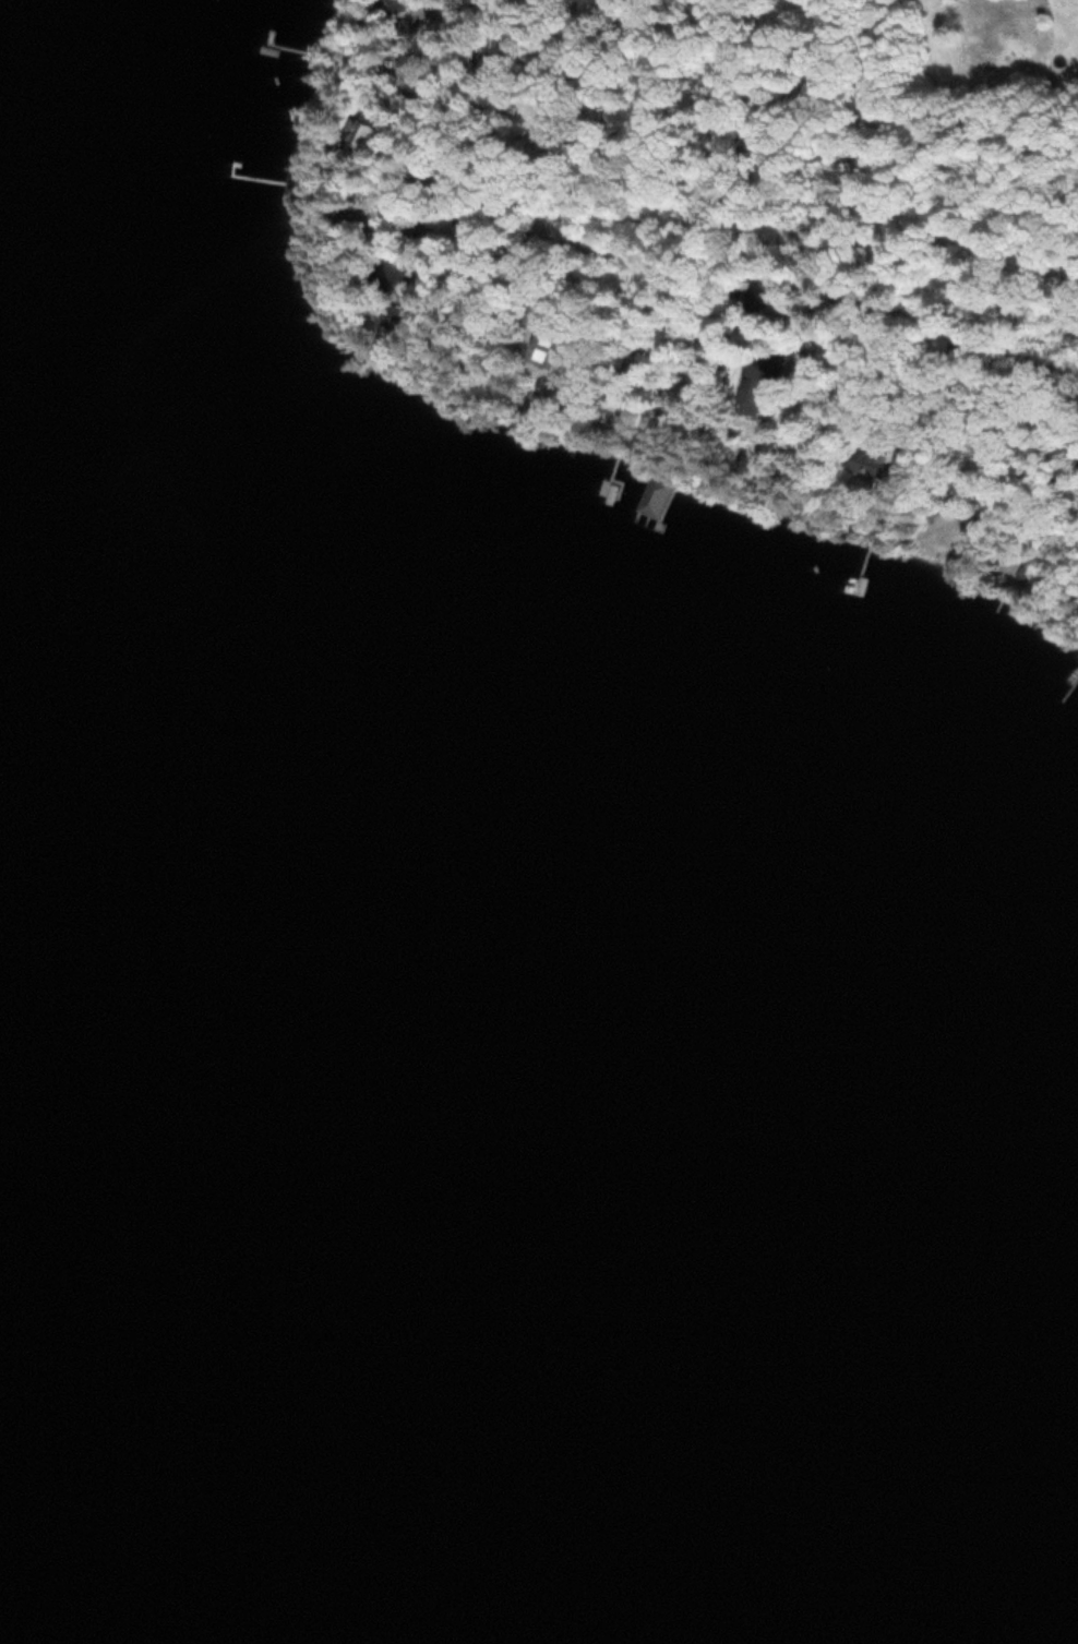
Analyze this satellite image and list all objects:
building: (411, 63)
road: (753, 110)
building: (366, 133)
building: (350, 218)
road: (893, 322)
building: (763, 384)
building: (876, 467)
building: (654, 493)

